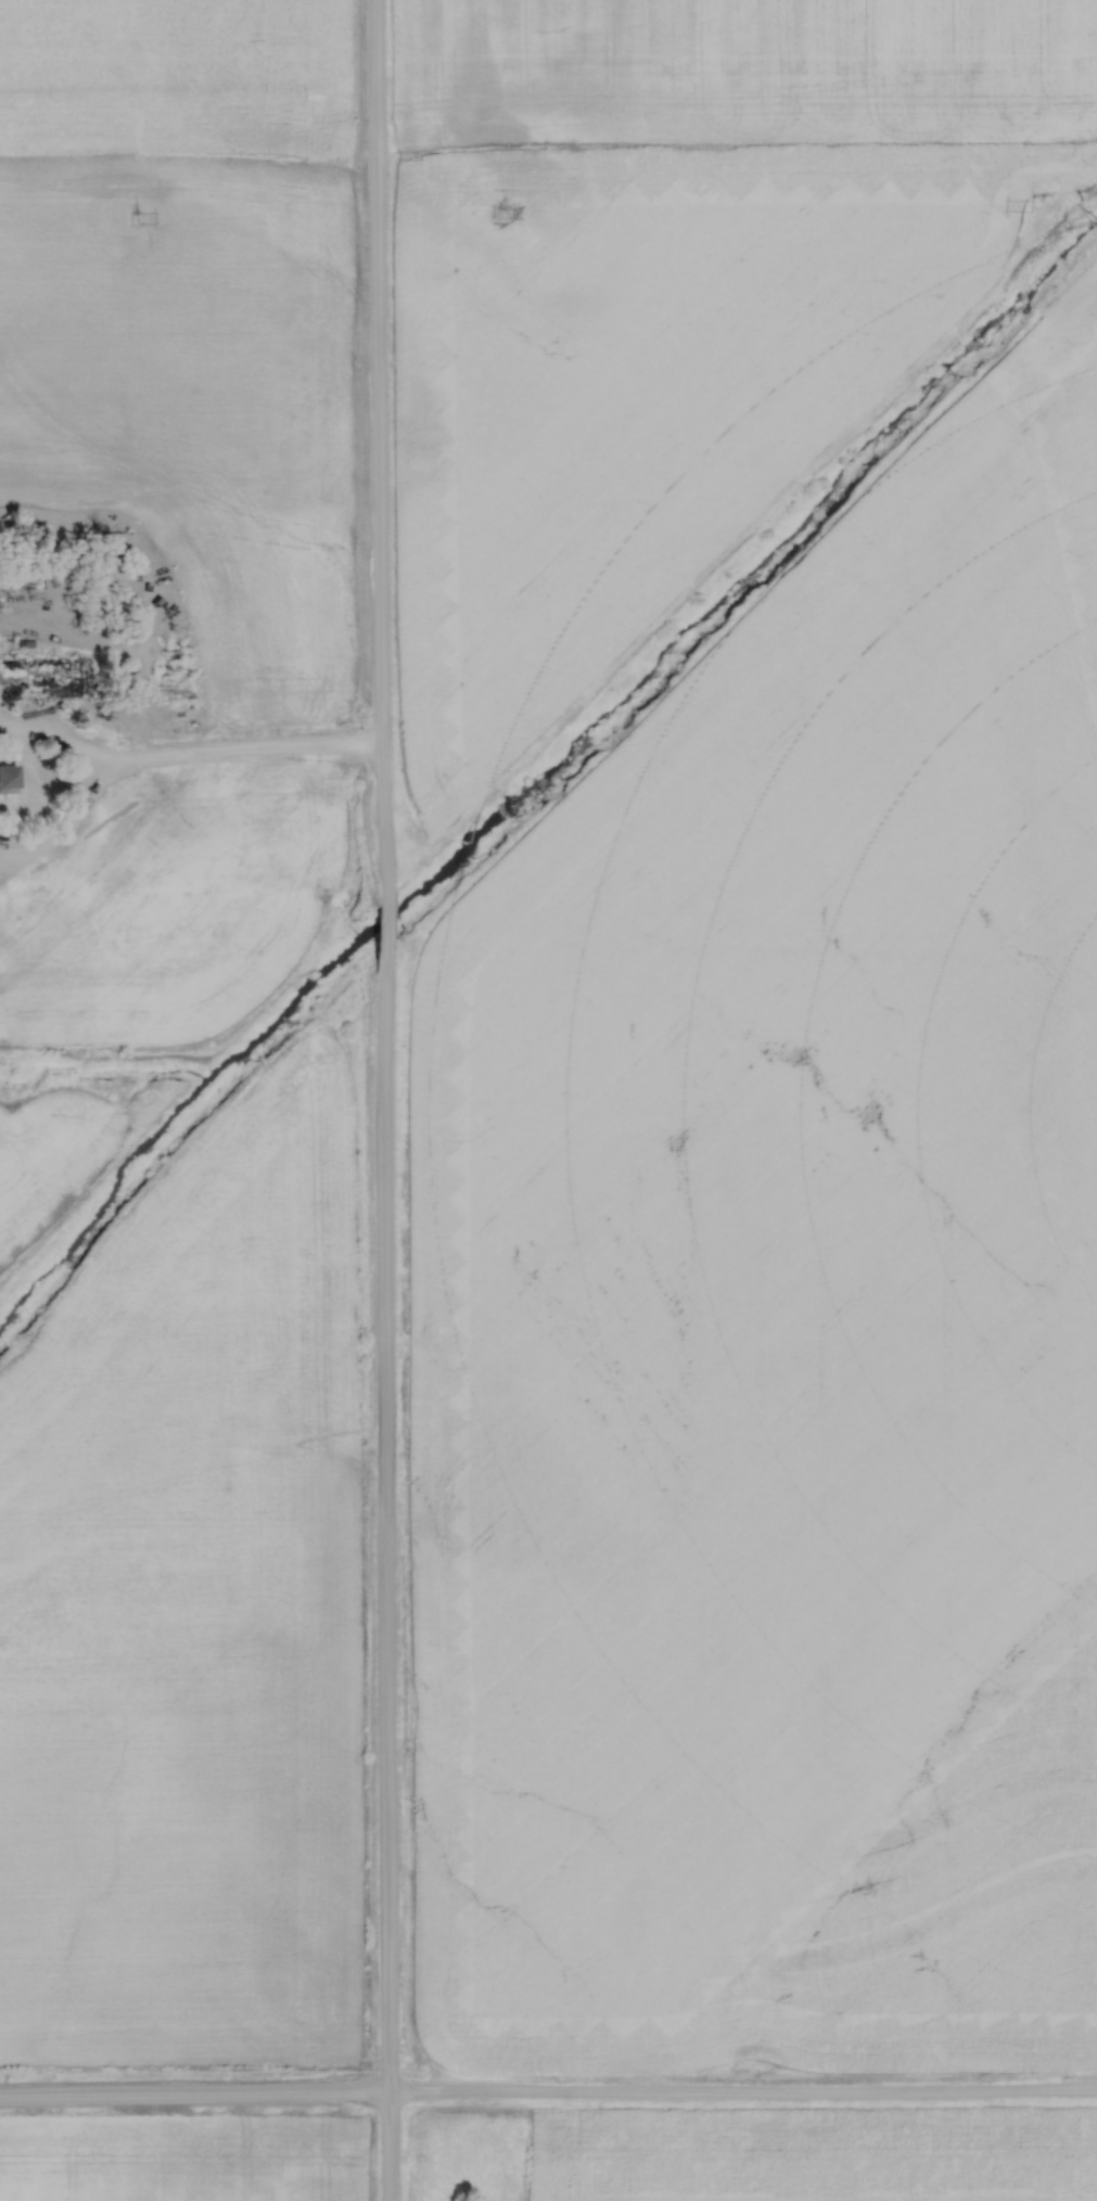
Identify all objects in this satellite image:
power tower: (1030, 205)
power tower: (499, 212)
power tower: (133, 216)
road: (377, 450)
building: (42, 678)
road: (188, 755)
river: (539, 769)
building: (8, 775)
road: (379, 931)
road: (386, 1579)
road: (742, 2096)
road: (193, 2099)

